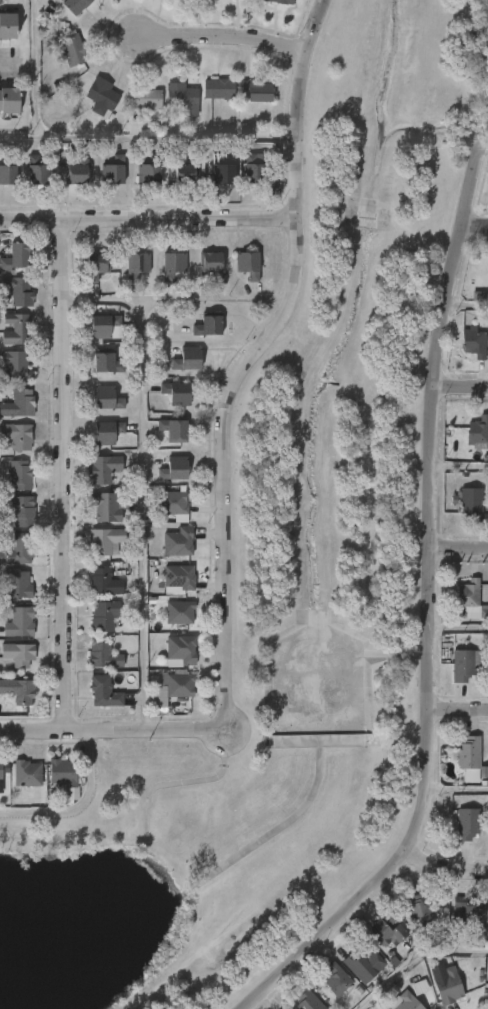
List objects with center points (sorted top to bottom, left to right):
building: (282, 2)
building: (76, 6)
building: (8, 25)
road: (221, 37)
building: (73, 50)
road: (7, 63)
building: (219, 88)
building: (256, 90)
building: (101, 95)
building: (145, 97)
building: (182, 97)
building: (9, 101)
building: (244, 128)
road: (18, 136)
road: (98, 137)
road: (486, 146)
building: (8, 169)
building: (224, 169)
building: (254, 169)
building: (37, 170)
building: (76, 170)
building: (113, 170)
building: (149, 170)
building: (185, 170)
road: (146, 219)
road: (477, 223)
building: (17, 257)
building: (136, 264)
building: (172, 264)
building: (212, 264)
building: (248, 264)
building: (96, 265)
building: (20, 290)
road: (174, 299)
road: (469, 308)
building: (103, 325)
building: (208, 326)
building: (17, 329)
building: (471, 342)
building: (187, 358)
road: (243, 360)
building: (106, 361)
building: (15, 365)
road: (463, 385)
building: (176, 393)
building: (106, 398)
building: (18, 403)
building: (174, 430)
building: (475, 430)
building: (107, 432)
building: (16, 435)
road: (461, 467)
building: (103, 468)
building: (174, 468)
building: (19, 475)
road: (63, 477)
building: (469, 502)
building: (172, 503)
building: (107, 506)
building: (19, 510)
road: (140, 514)
building: (106, 540)
building: (178, 542)
building: (19, 550)
road: (460, 550)
building: (179, 577)
building: (104, 582)
building: (17, 584)
building: (467, 598)
road: (432, 612)
building: (179, 613)
building: (104, 616)
building: (19, 622)
road: (460, 629)
park: (272, 638)
building: (181, 649)
building: (18, 654)
building: (103, 657)
building: (463, 665)
building: (174, 683)
building: (19, 692)
building: (106, 692)
road: (460, 709)
road: (103, 730)
building: (469, 758)
building: (3, 767)
building: (62, 772)
building: (26, 773)
building: (0, 778)
road: (458, 791)
building: (72, 793)
road: (76, 805)
building: (467, 824)
road: (445, 863)
building: (467, 907)
building: (419, 908)
building: (486, 911)
building: (386, 929)
road: (412, 957)
building: (359, 968)
building: (336, 979)
building: (445, 986)
building: (486, 986)
building: (307, 1000)
building: (406, 1001)

